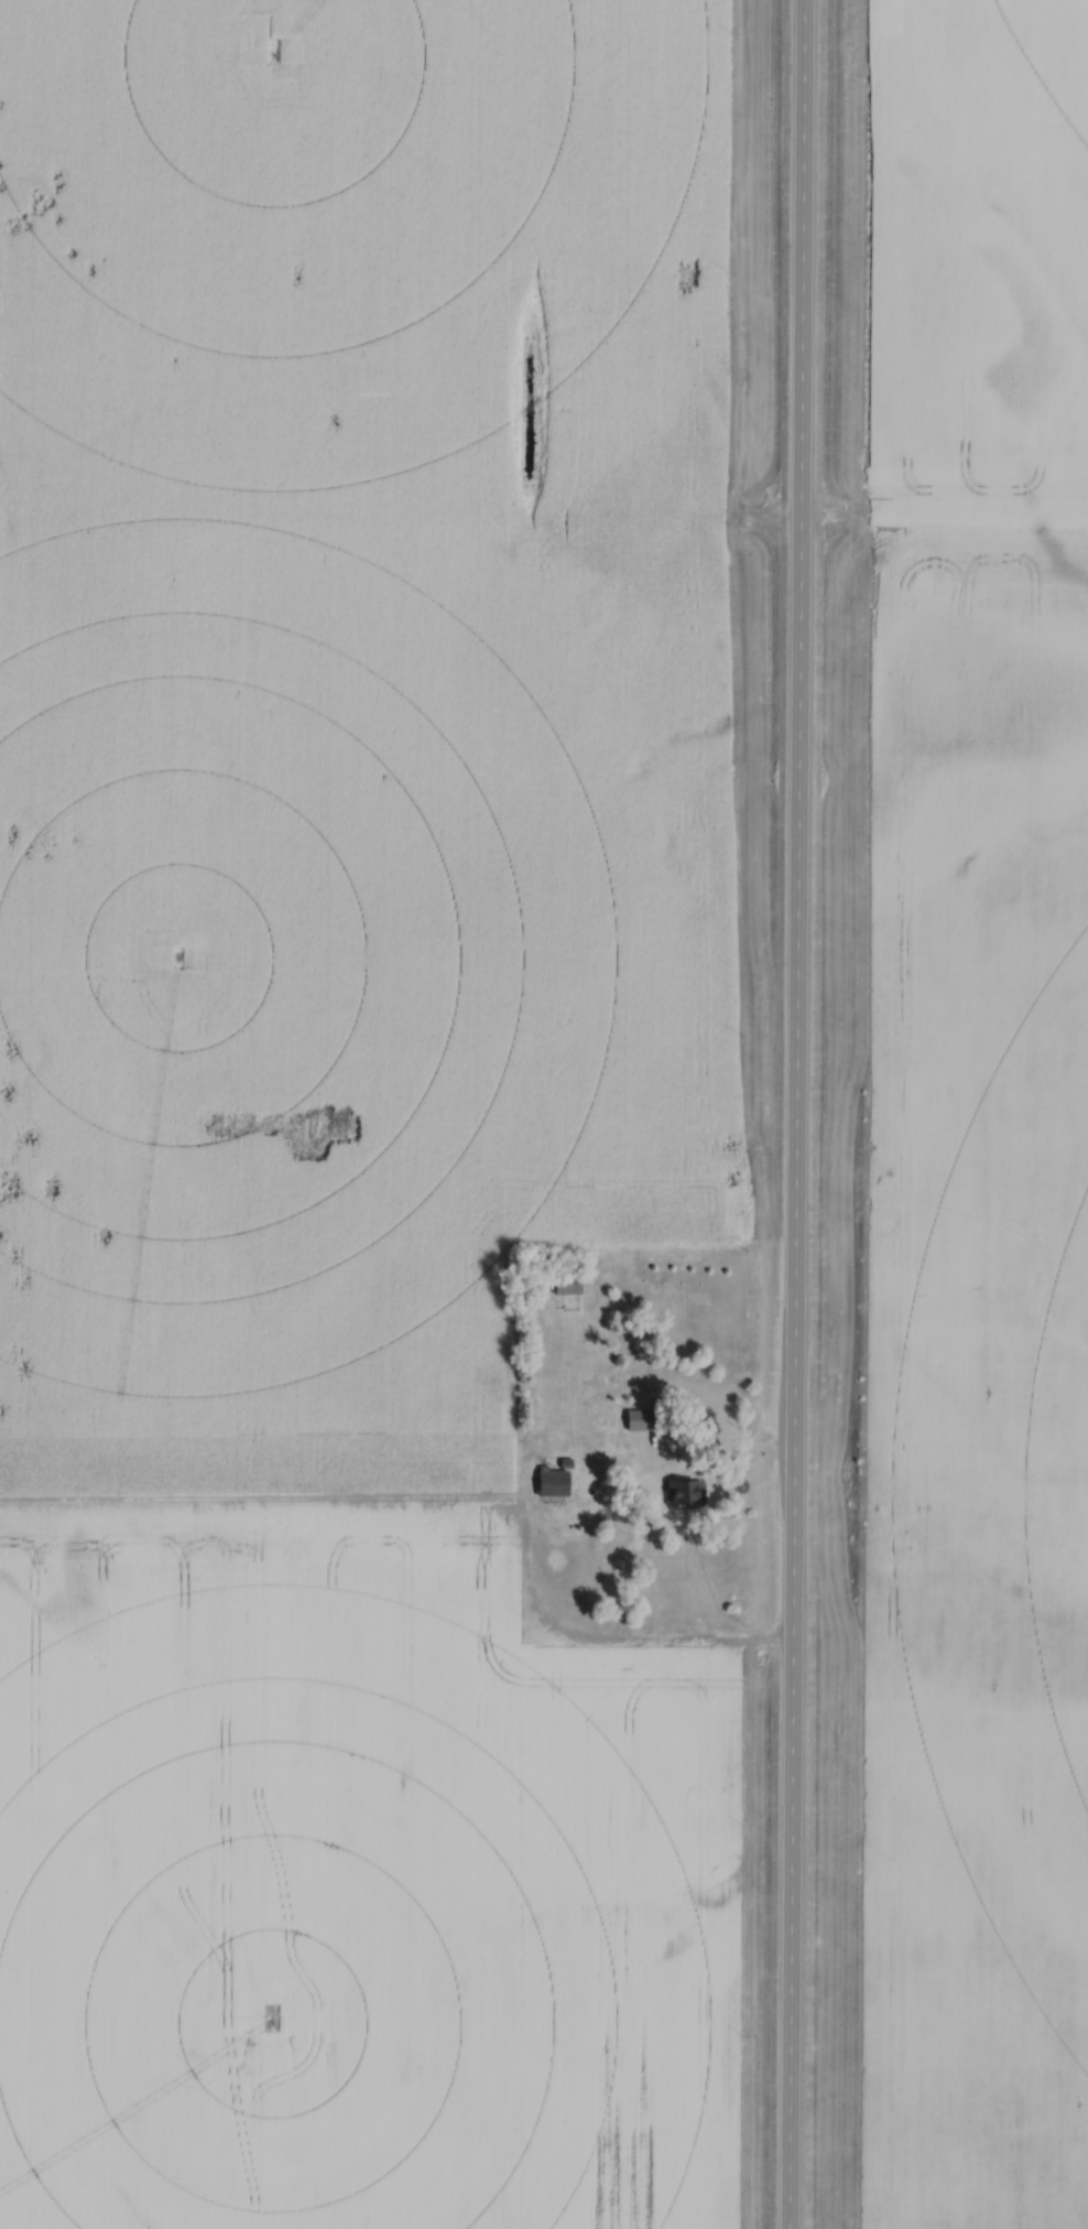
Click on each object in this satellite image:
road: (798, 1114)
building: (573, 1285)
building: (645, 1419)
road: (725, 1457)
building: (554, 1482)
building: (687, 1492)

